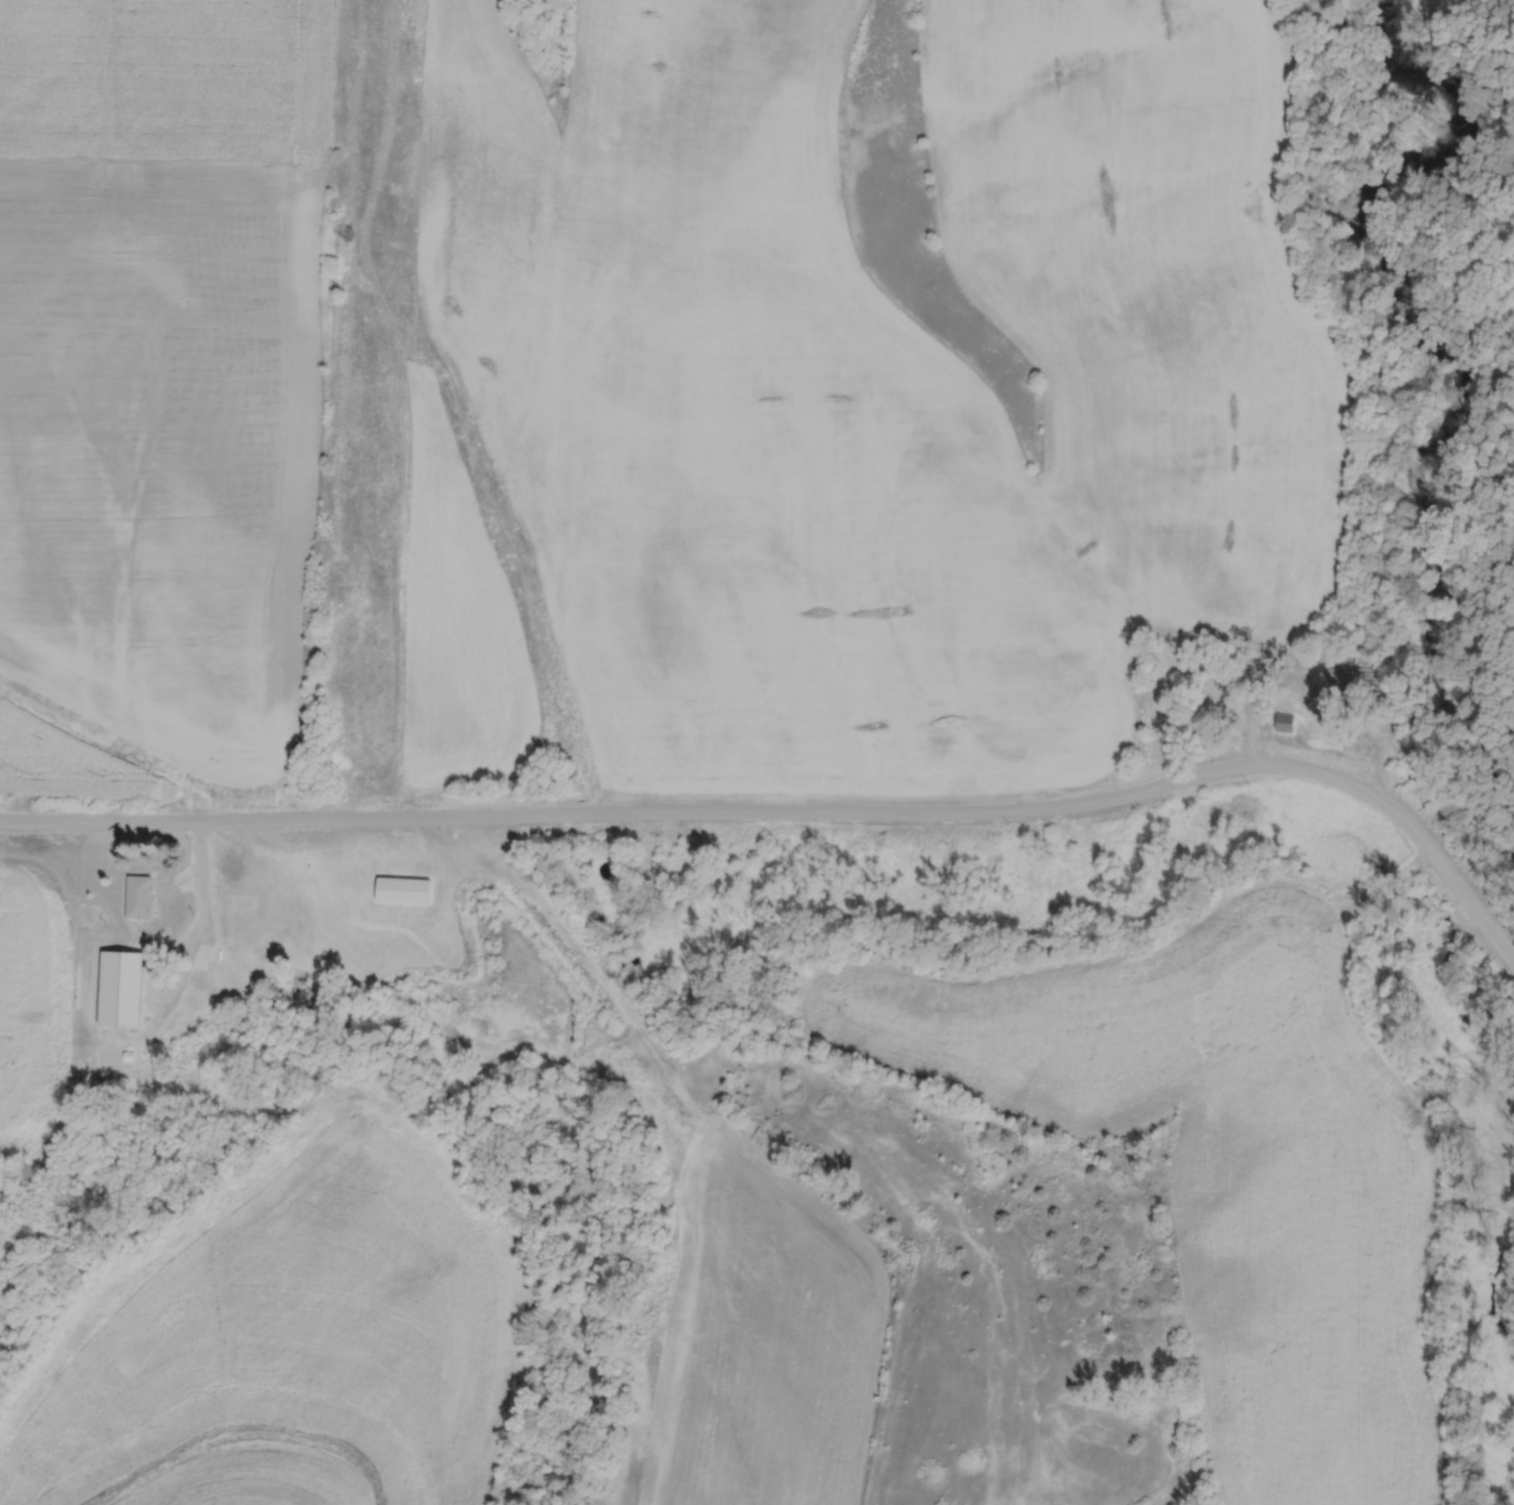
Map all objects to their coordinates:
building: (1285, 724)
road: (798, 813)
building: (403, 889)
building: (138, 897)
road: (199, 919)
building: (120, 988)

